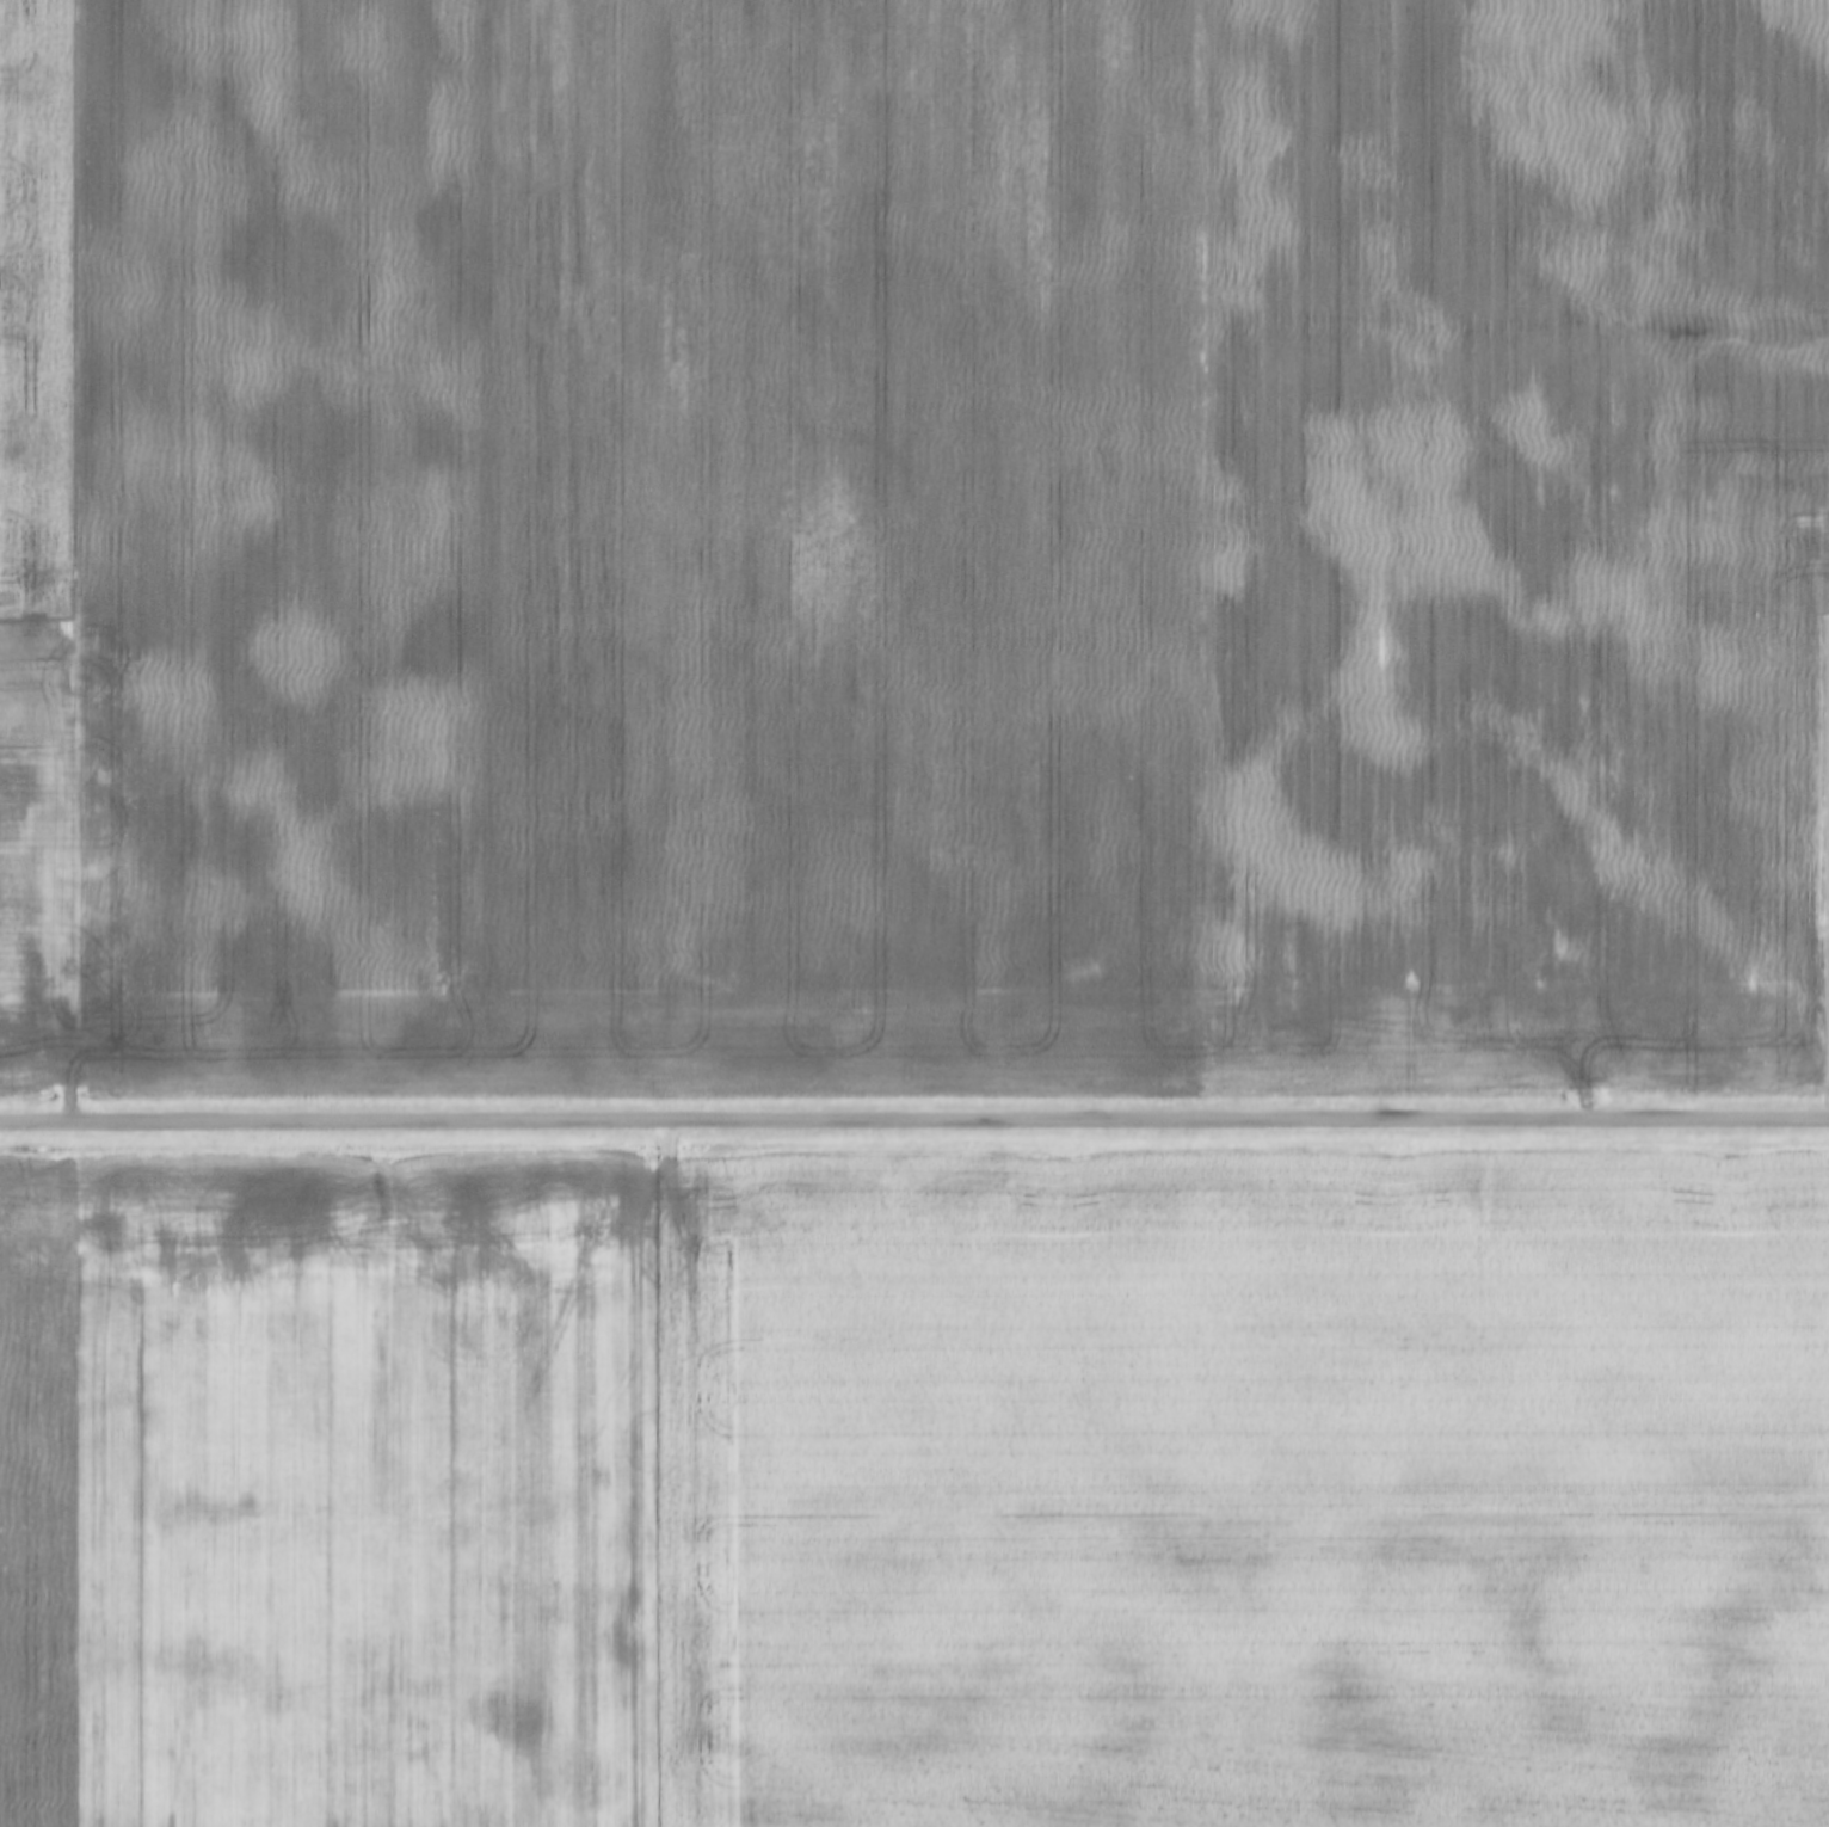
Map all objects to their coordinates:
road: (66, 982)
road: (914, 1122)

